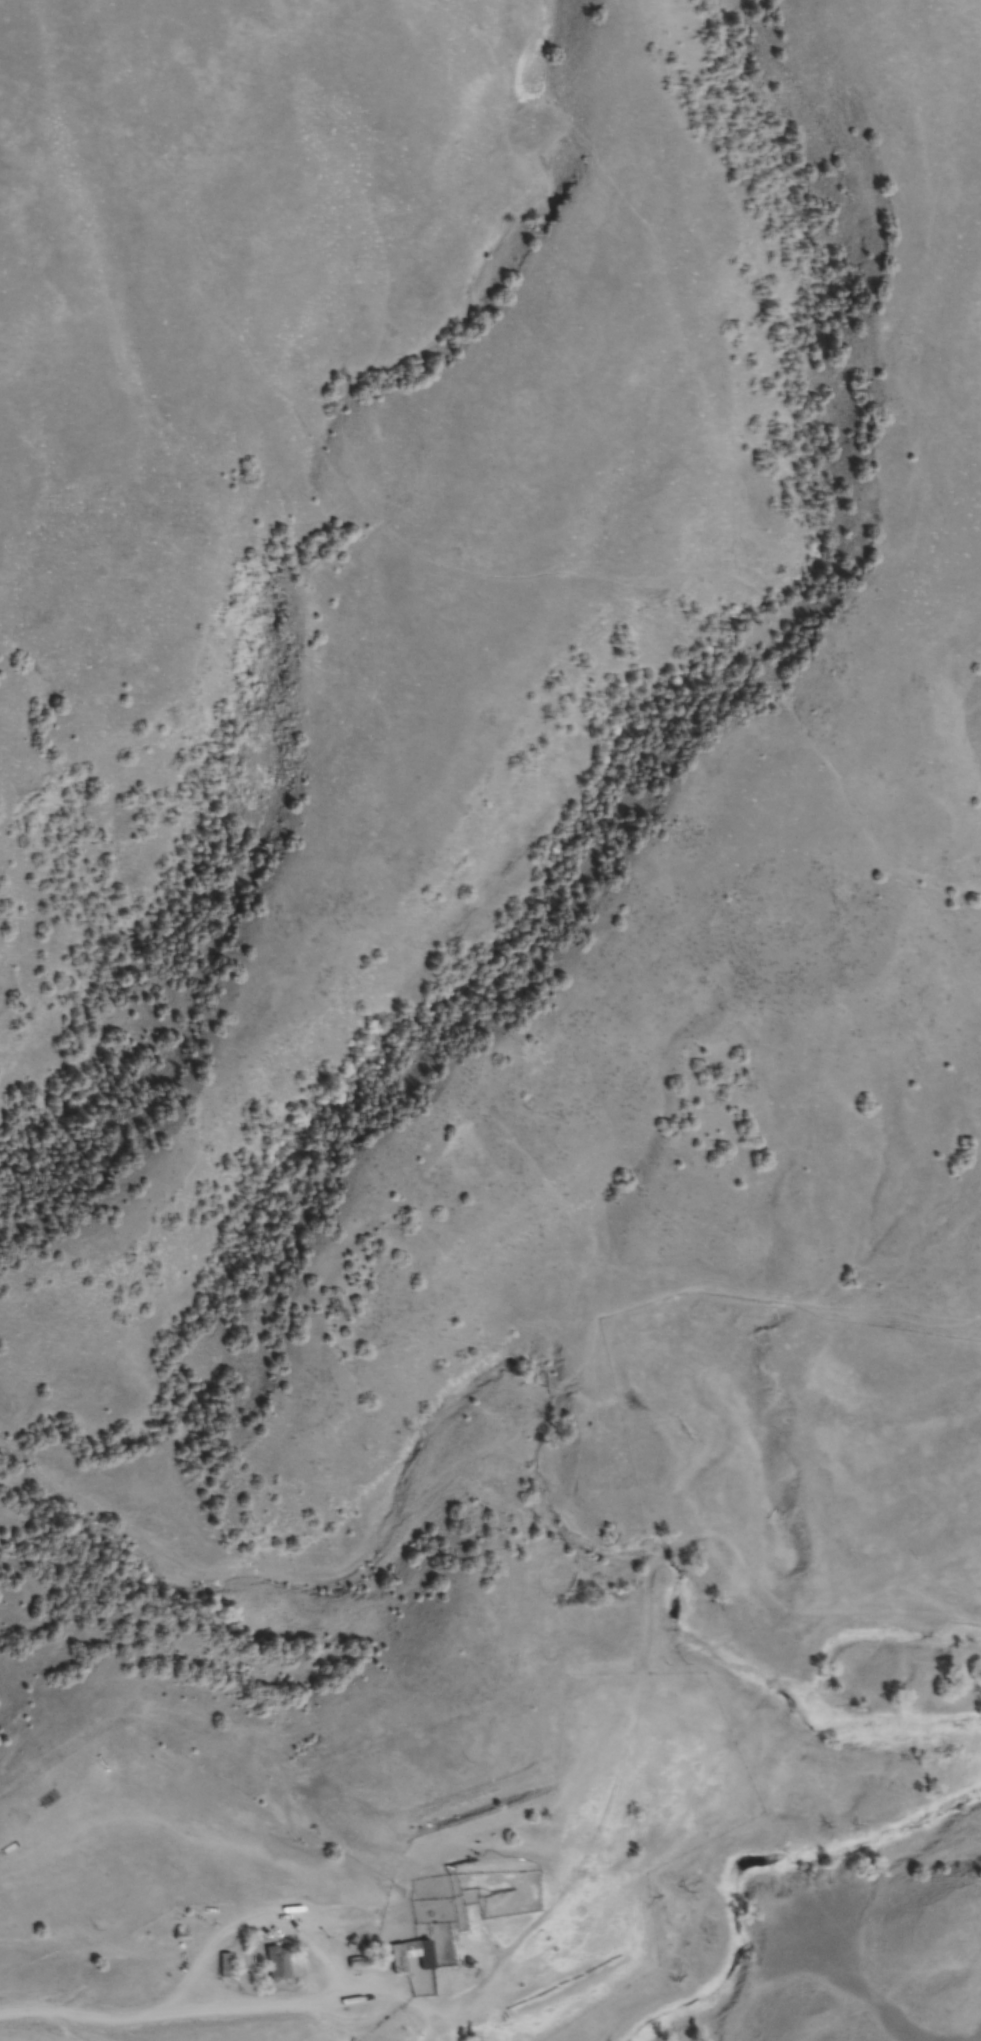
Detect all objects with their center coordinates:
building: (419, 1954)
building: (285, 1962)

